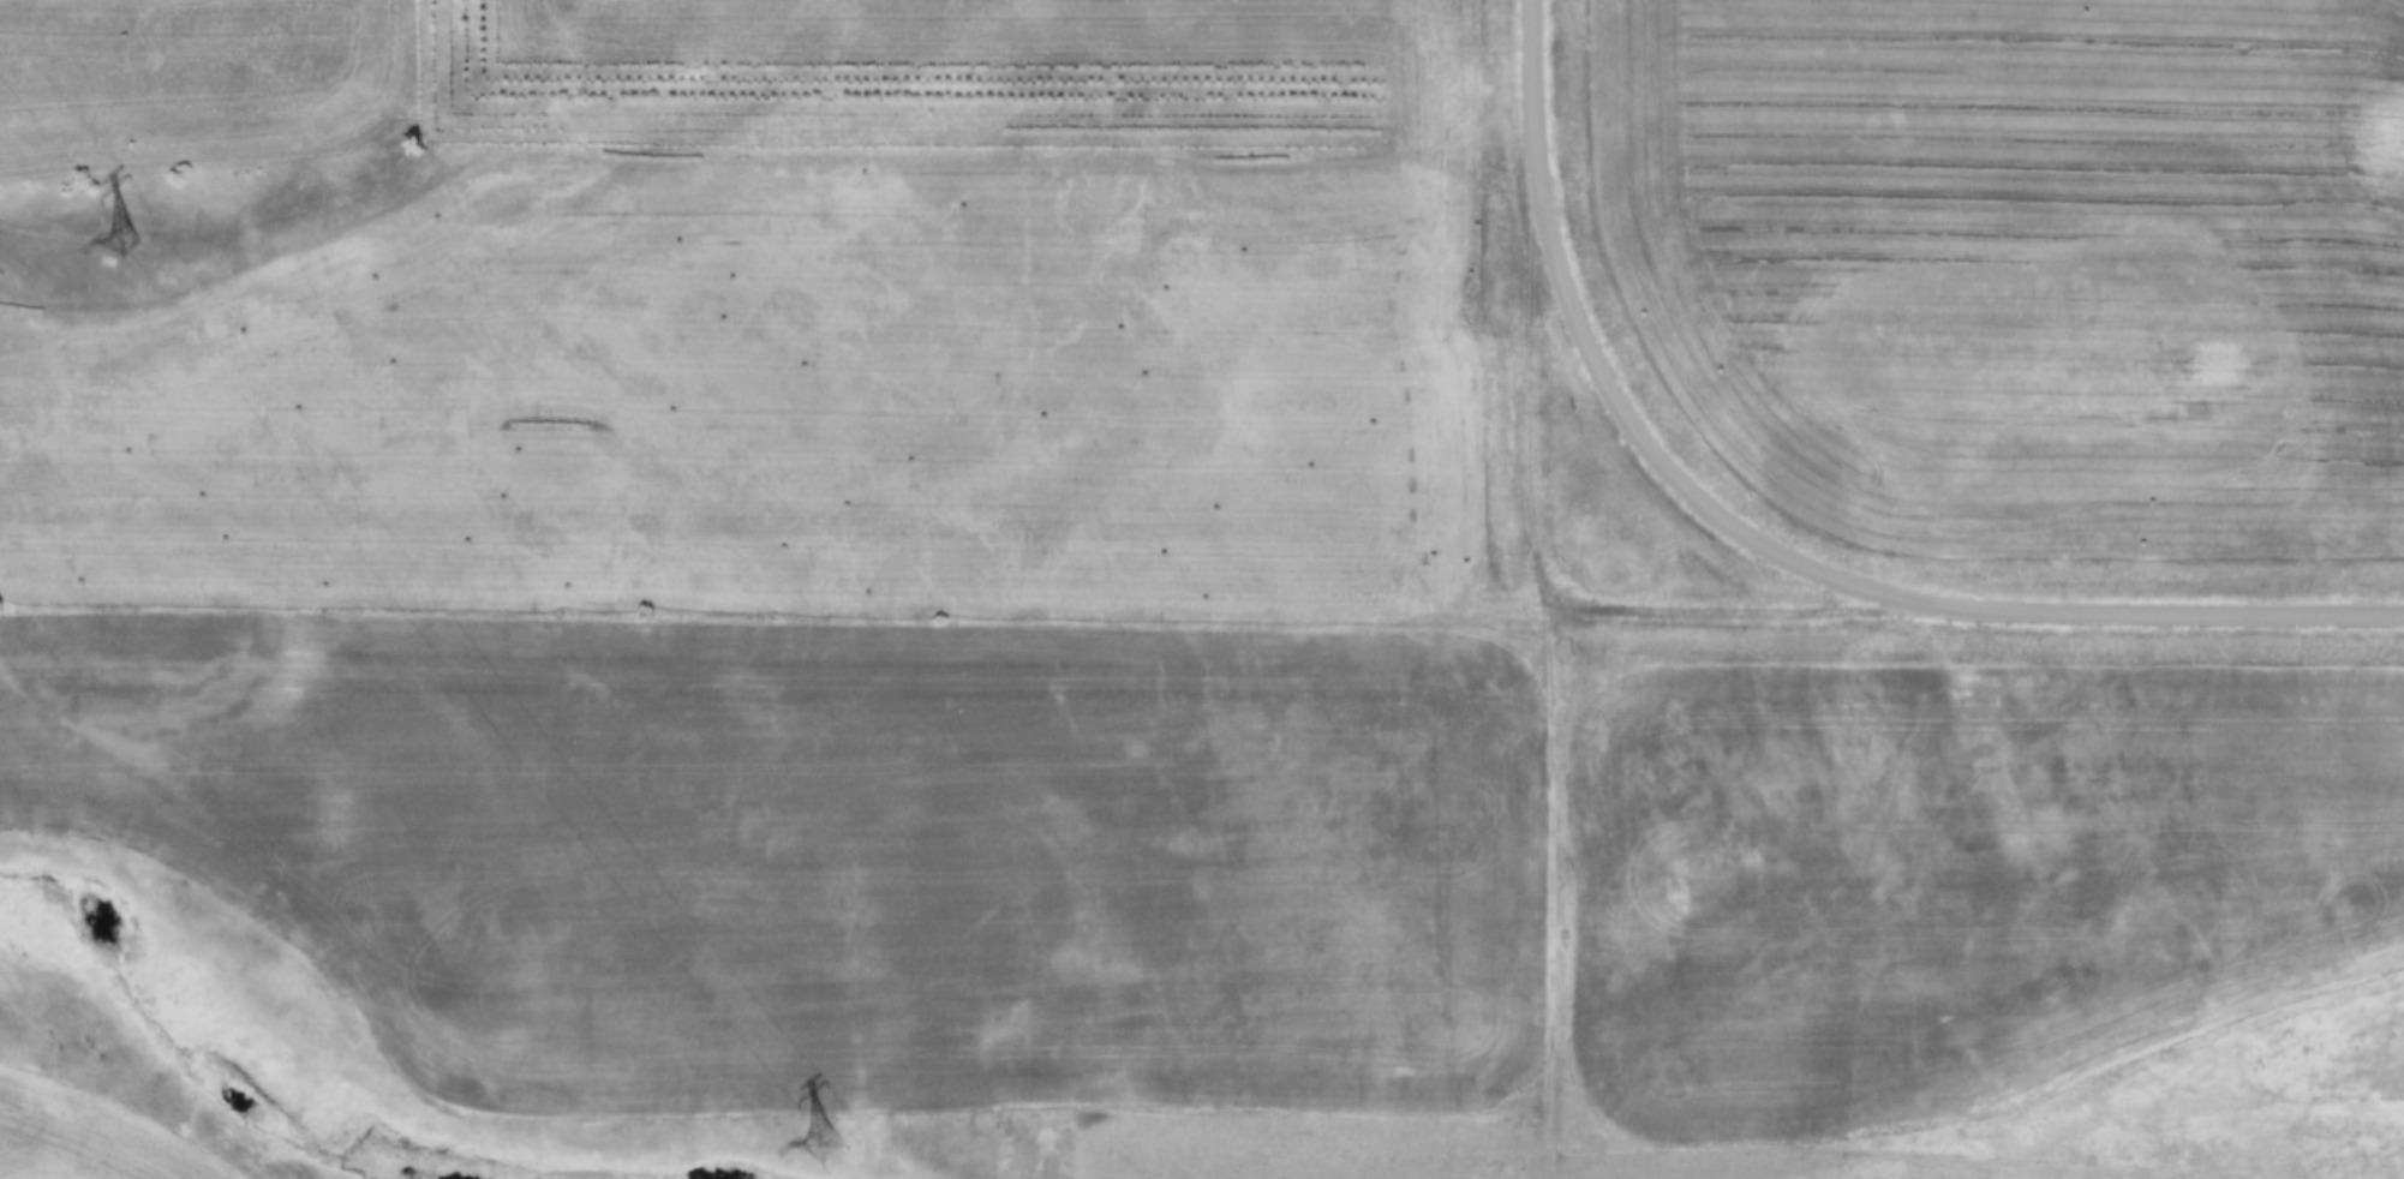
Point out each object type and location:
road: (1533, 64)
power tower: (139, 235)
road: (1637, 438)
road: (2159, 608)
road: (1732, 609)
road: (1548, 653)
power tower: (831, 1138)

